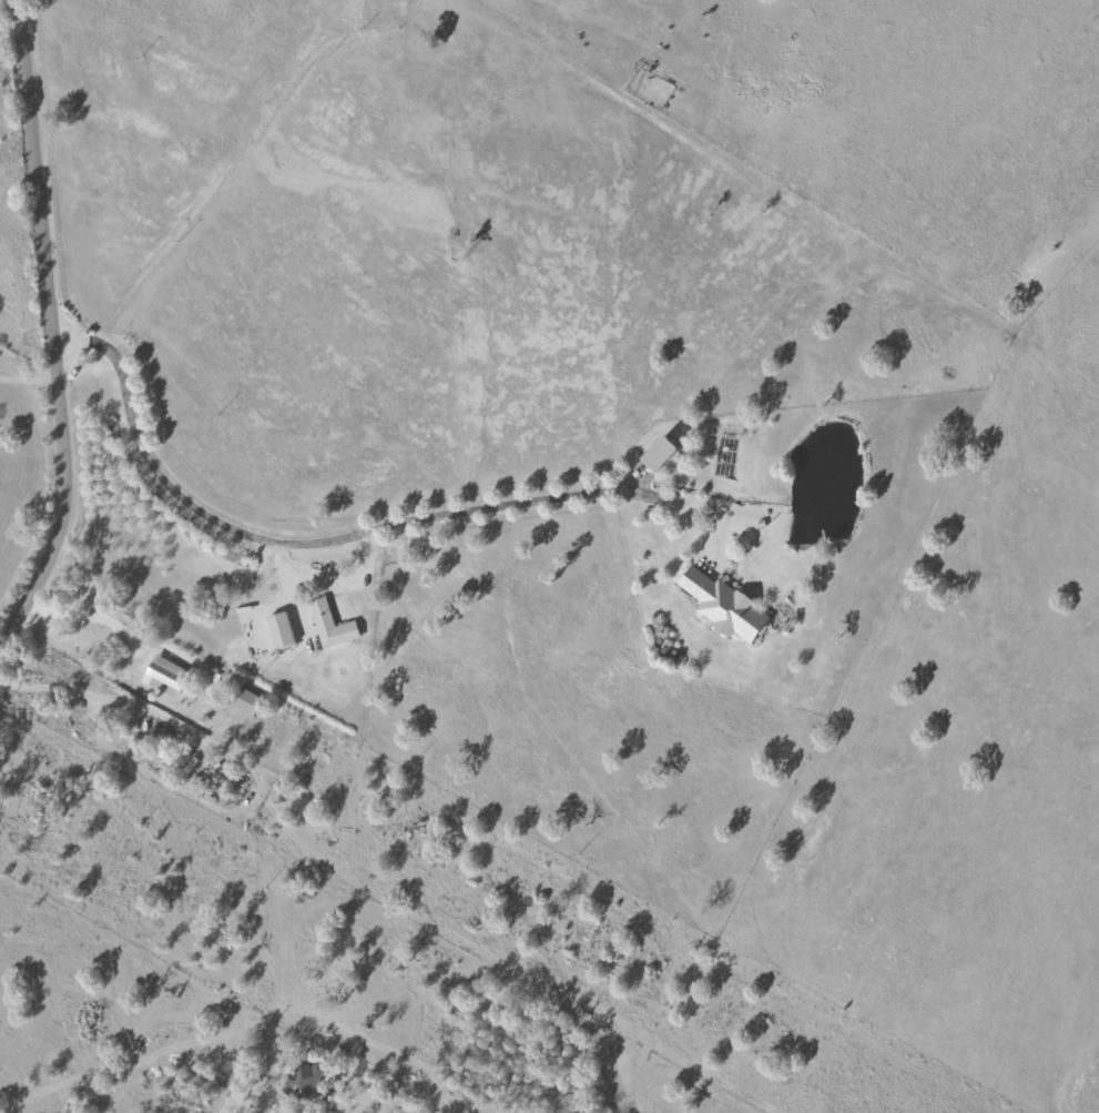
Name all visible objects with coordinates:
road: (48, 325)
road: (27, 380)
building: (655, 453)
road: (284, 543)
road: (333, 577)
building: (722, 606)
building: (329, 625)
building: (278, 629)
building: (163, 676)
road: (40, 686)
building: (244, 700)
road: (242, 801)
building: (303, 1080)
road: (227, 1105)

